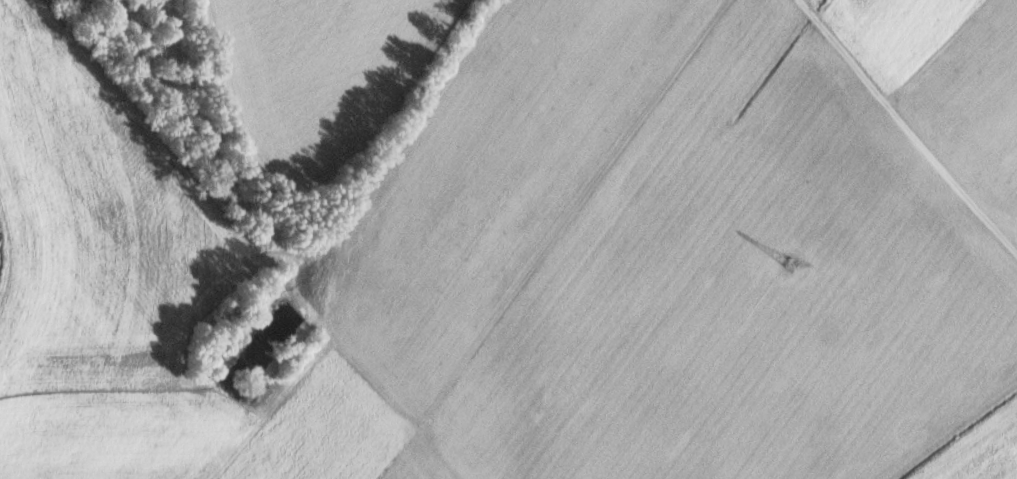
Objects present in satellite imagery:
power tower: (791, 265)

